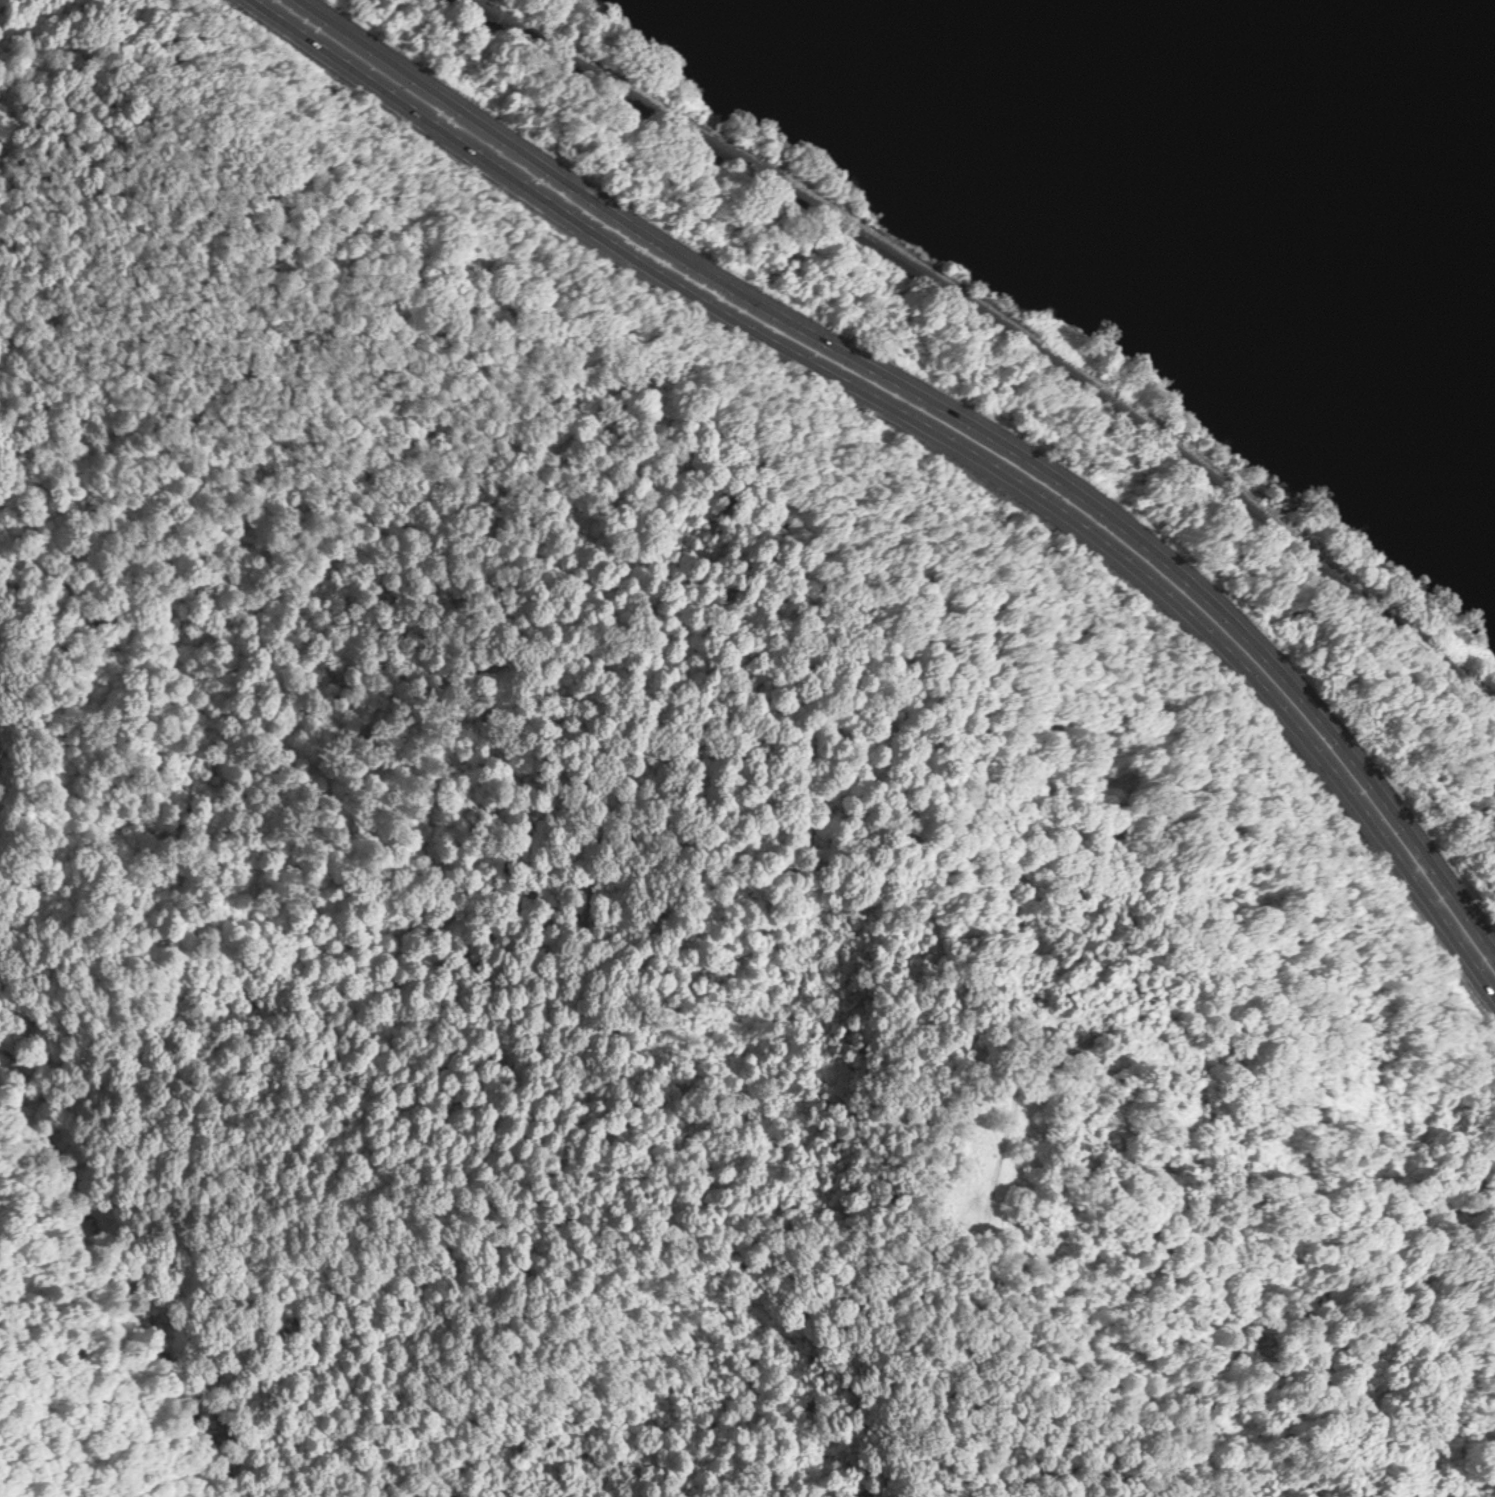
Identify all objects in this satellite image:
railway: (476, 1)
river: (1354, 111)
railway: (1006, 321)
road: (956, 405)
road: (936, 424)

